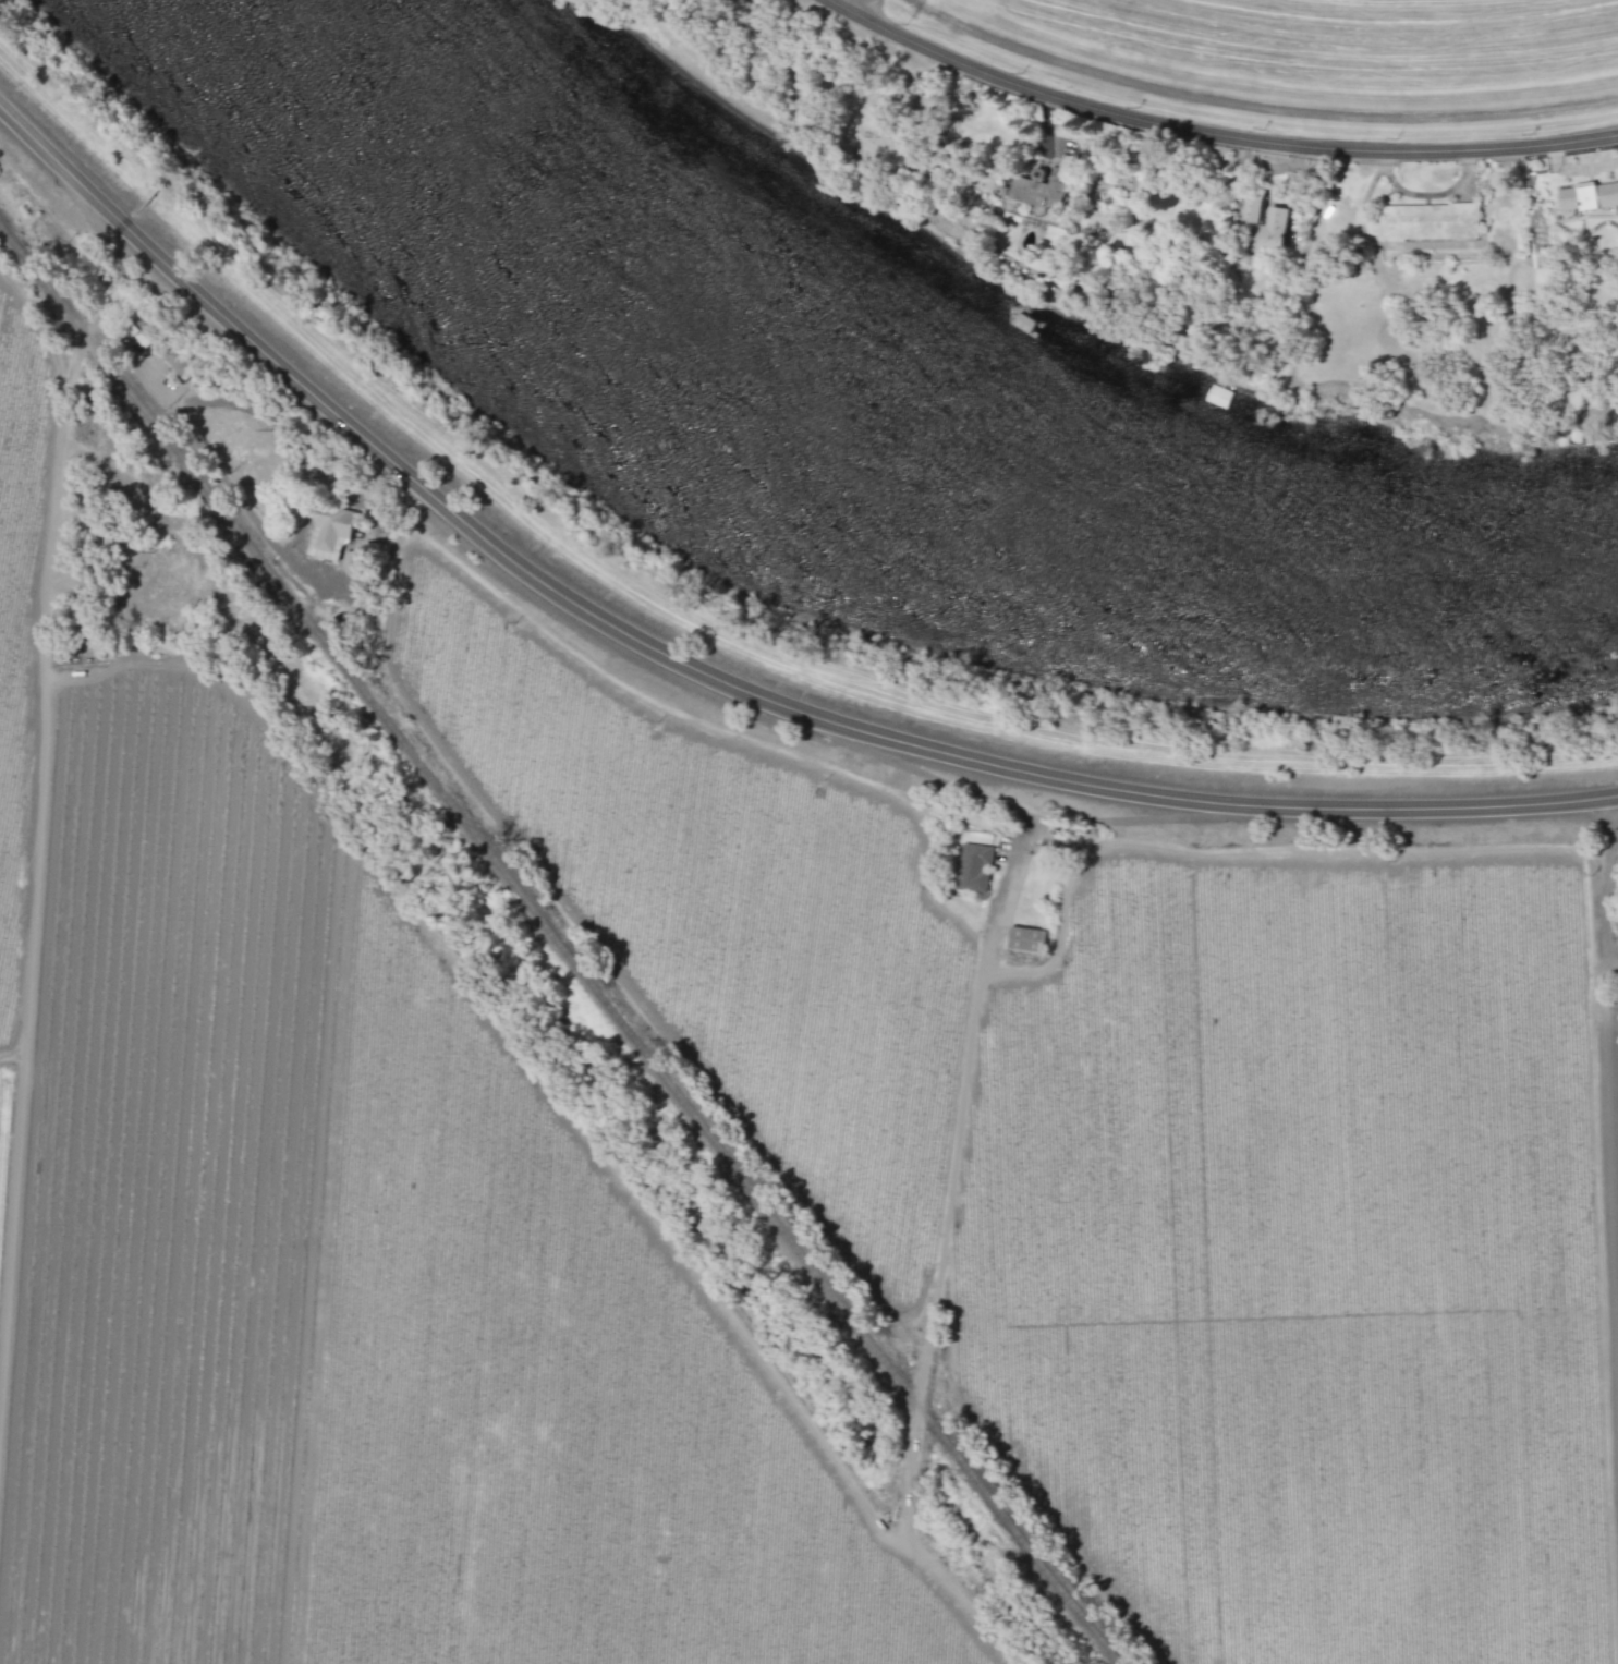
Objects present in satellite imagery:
road: (1212, 134)
building: (1042, 190)
building: (1587, 195)
building: (1276, 216)
building: (1431, 221)
building: (142, 332)
road: (59, 434)
river: (893, 473)
building: (330, 531)
building: (350, 560)
road: (717, 681)
road: (1020, 860)
building: (972, 866)
road: (1608, 919)
building: (1025, 938)
railway: (563, 942)
crop: (730, 1093)
road: (934, 1311)

